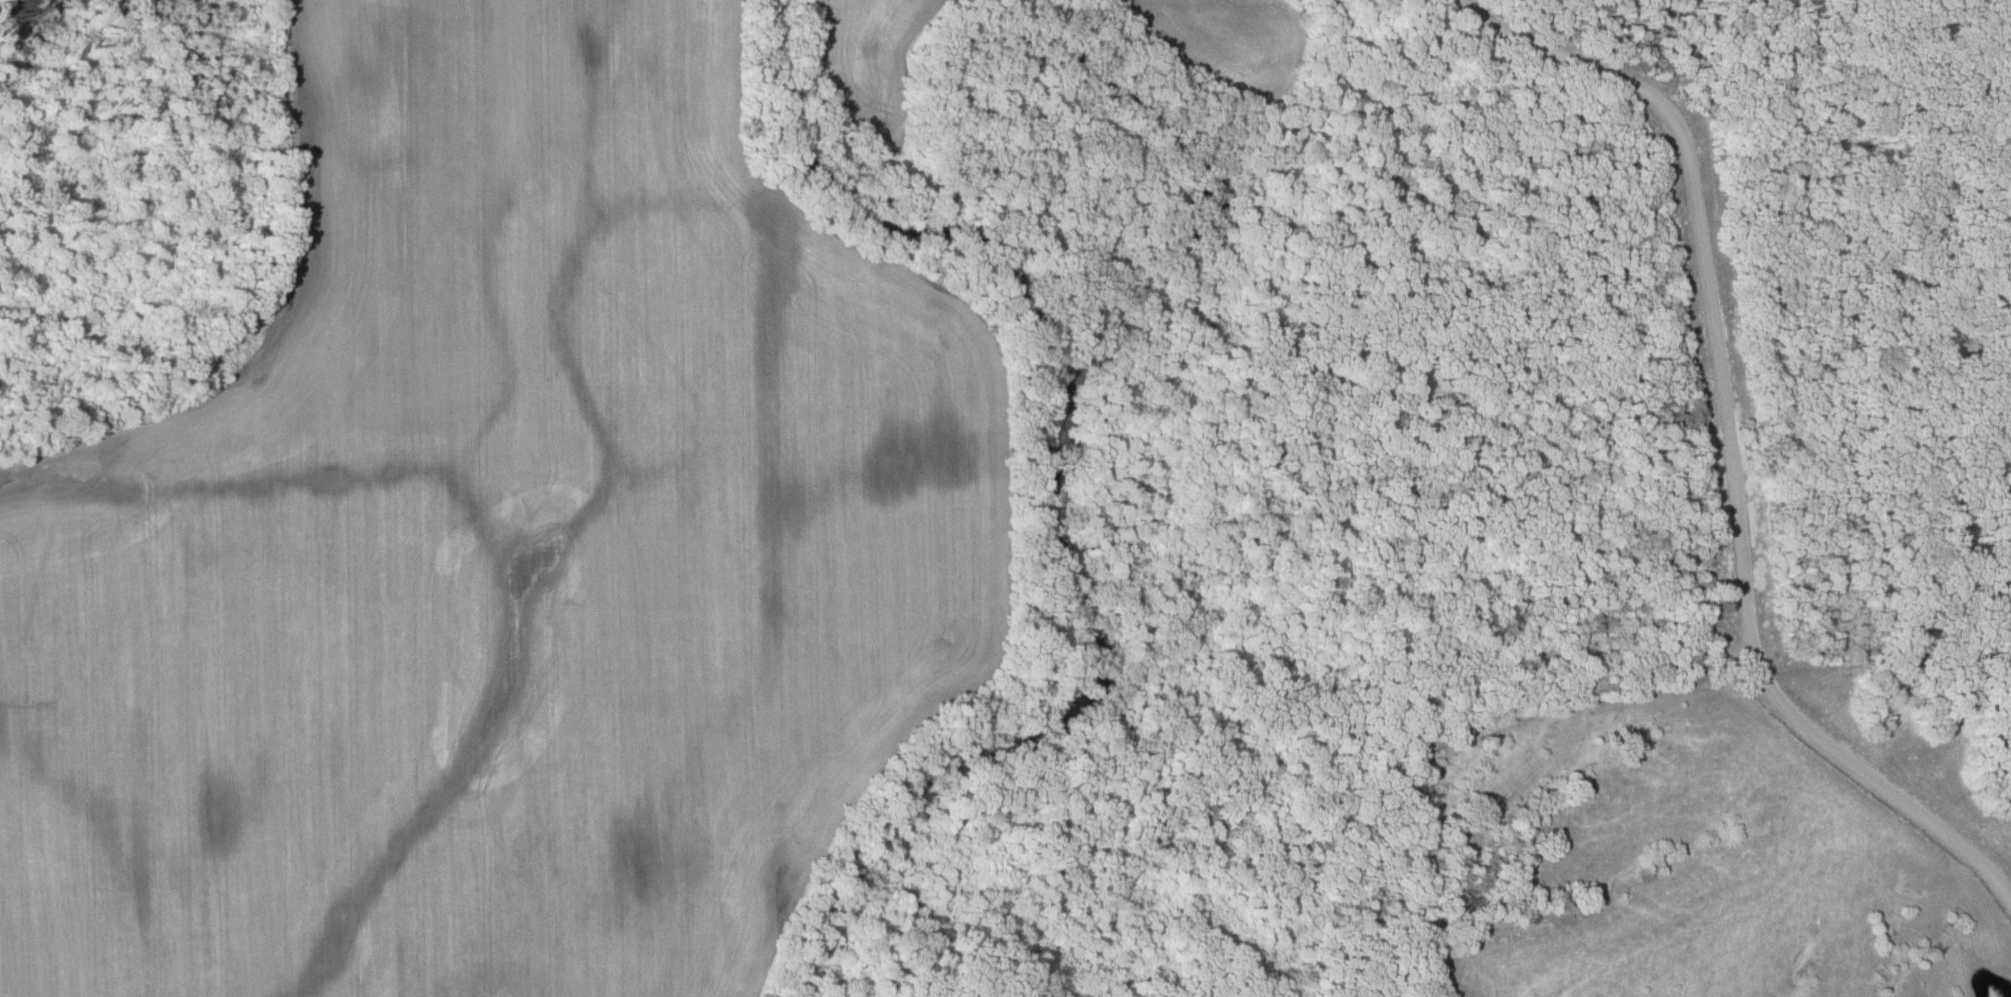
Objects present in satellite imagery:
road: (1720, 445)

